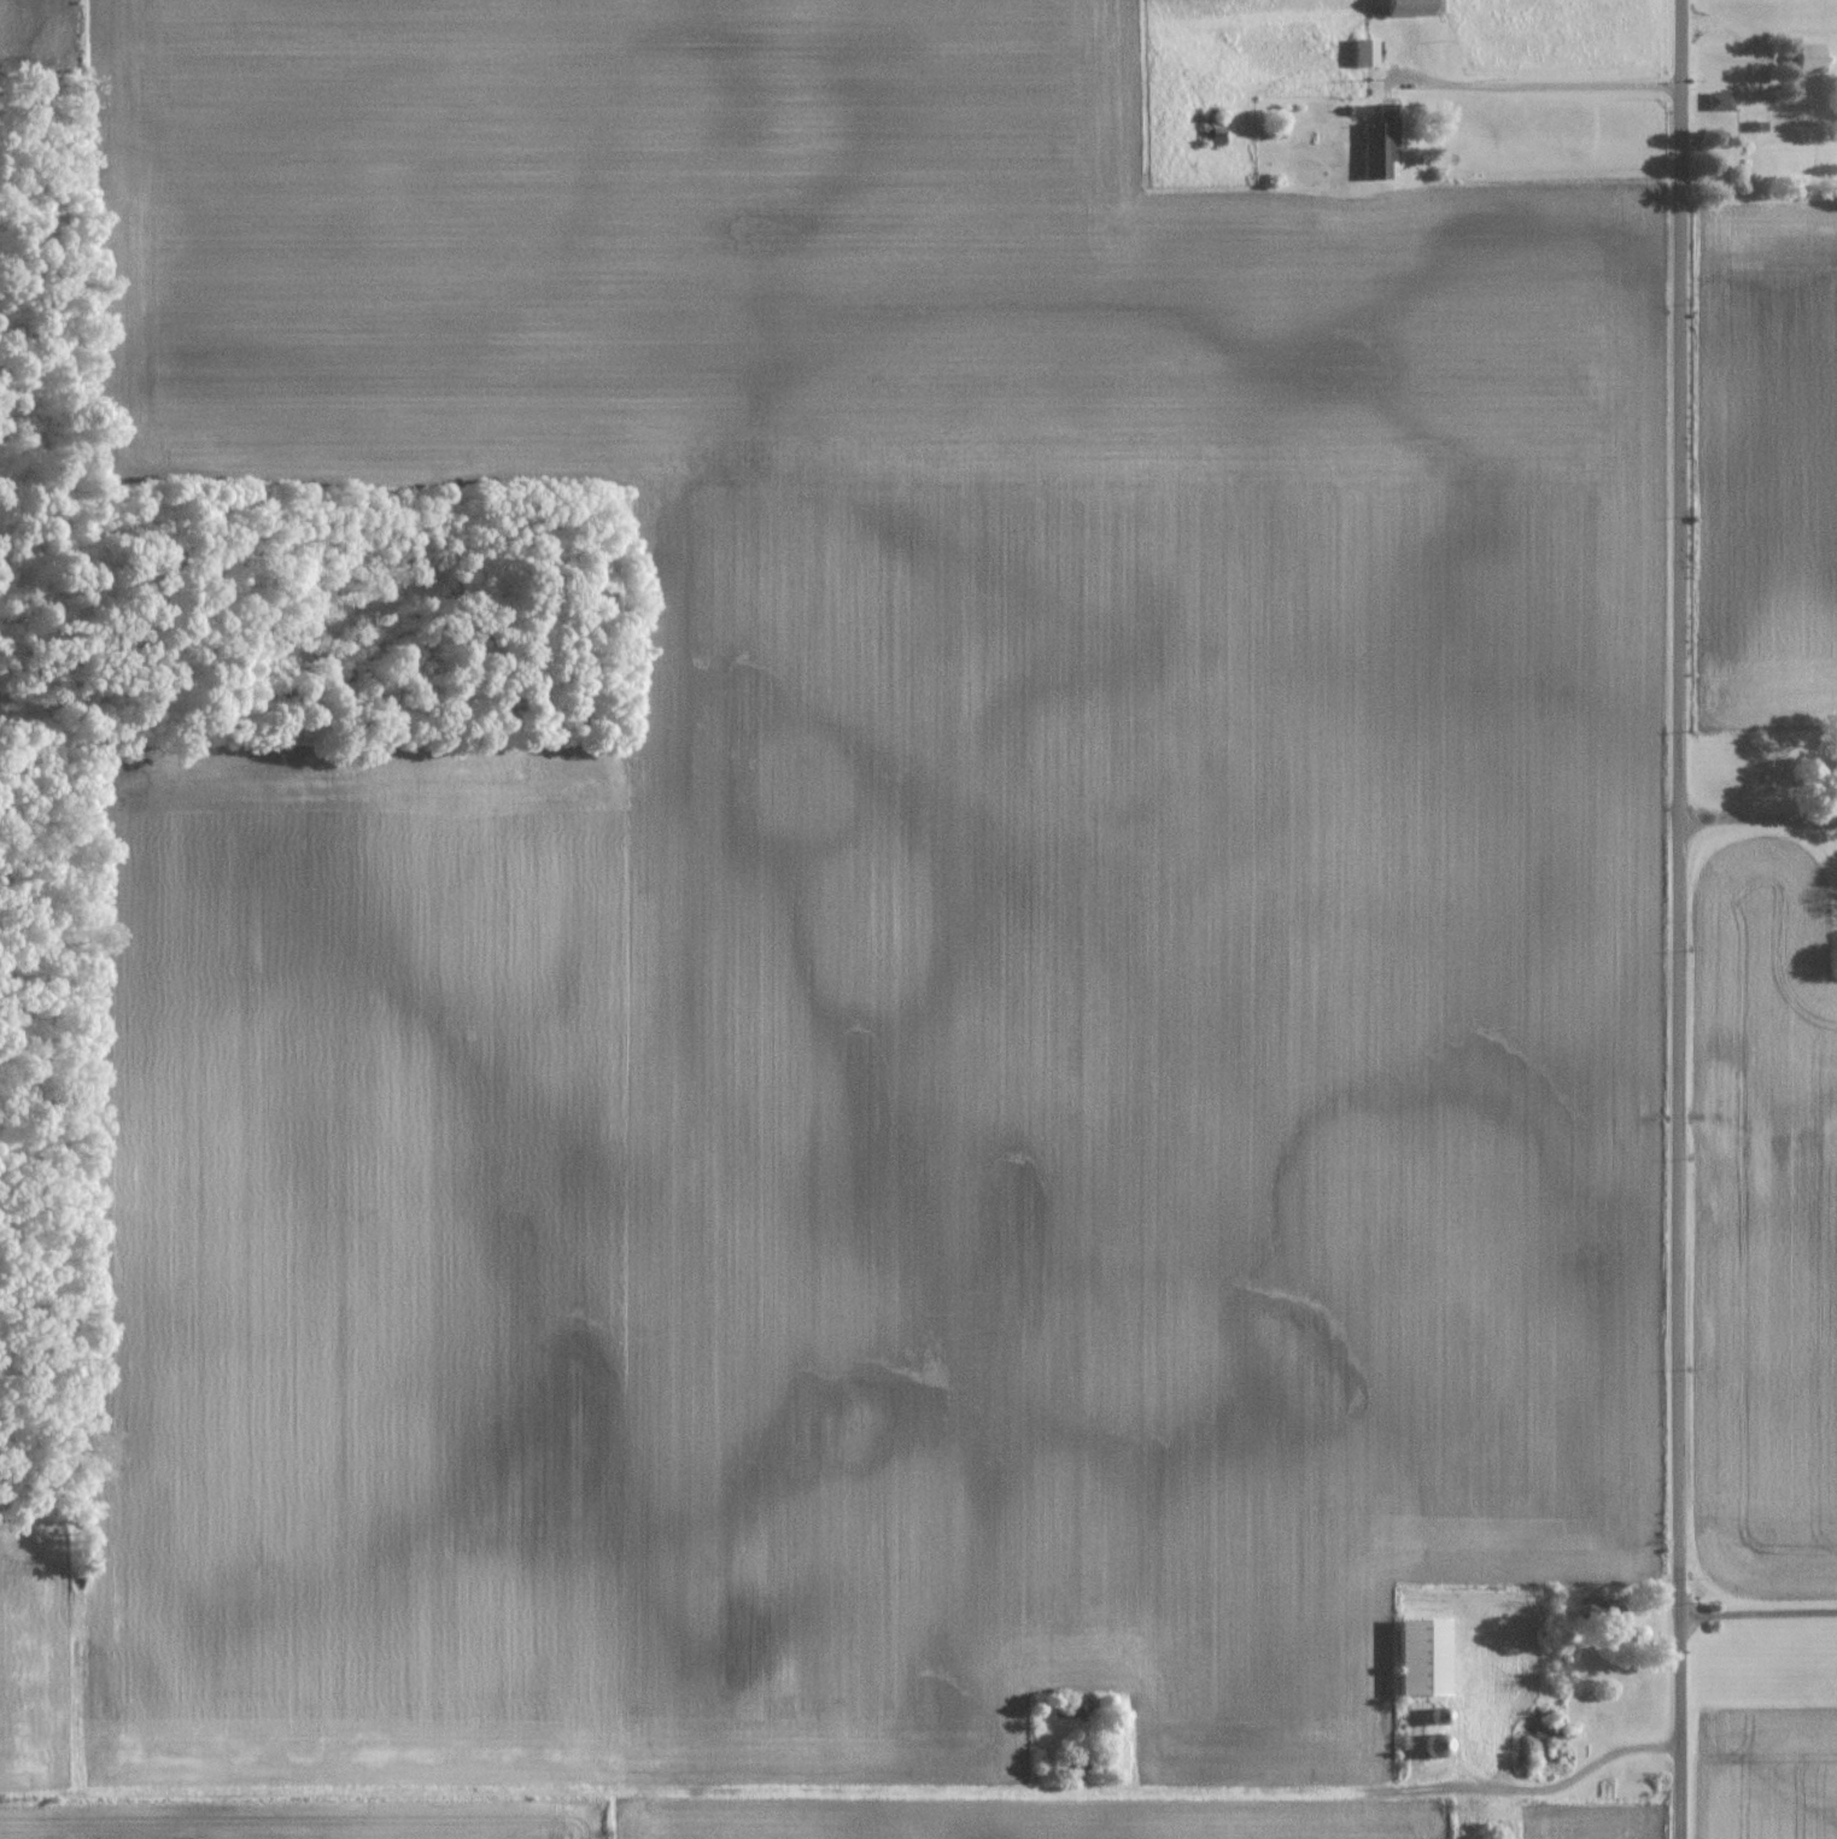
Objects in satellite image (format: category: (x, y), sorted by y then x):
building: (1408, 8)
building: (1365, 53)
building: (1810, 58)
road: (1539, 87)
building: (1721, 101)
building: (1380, 144)
road: (1747, 818)
road: (1680, 919)
road: (1756, 1613)
building: (1422, 1658)
road: (1551, 1788)

